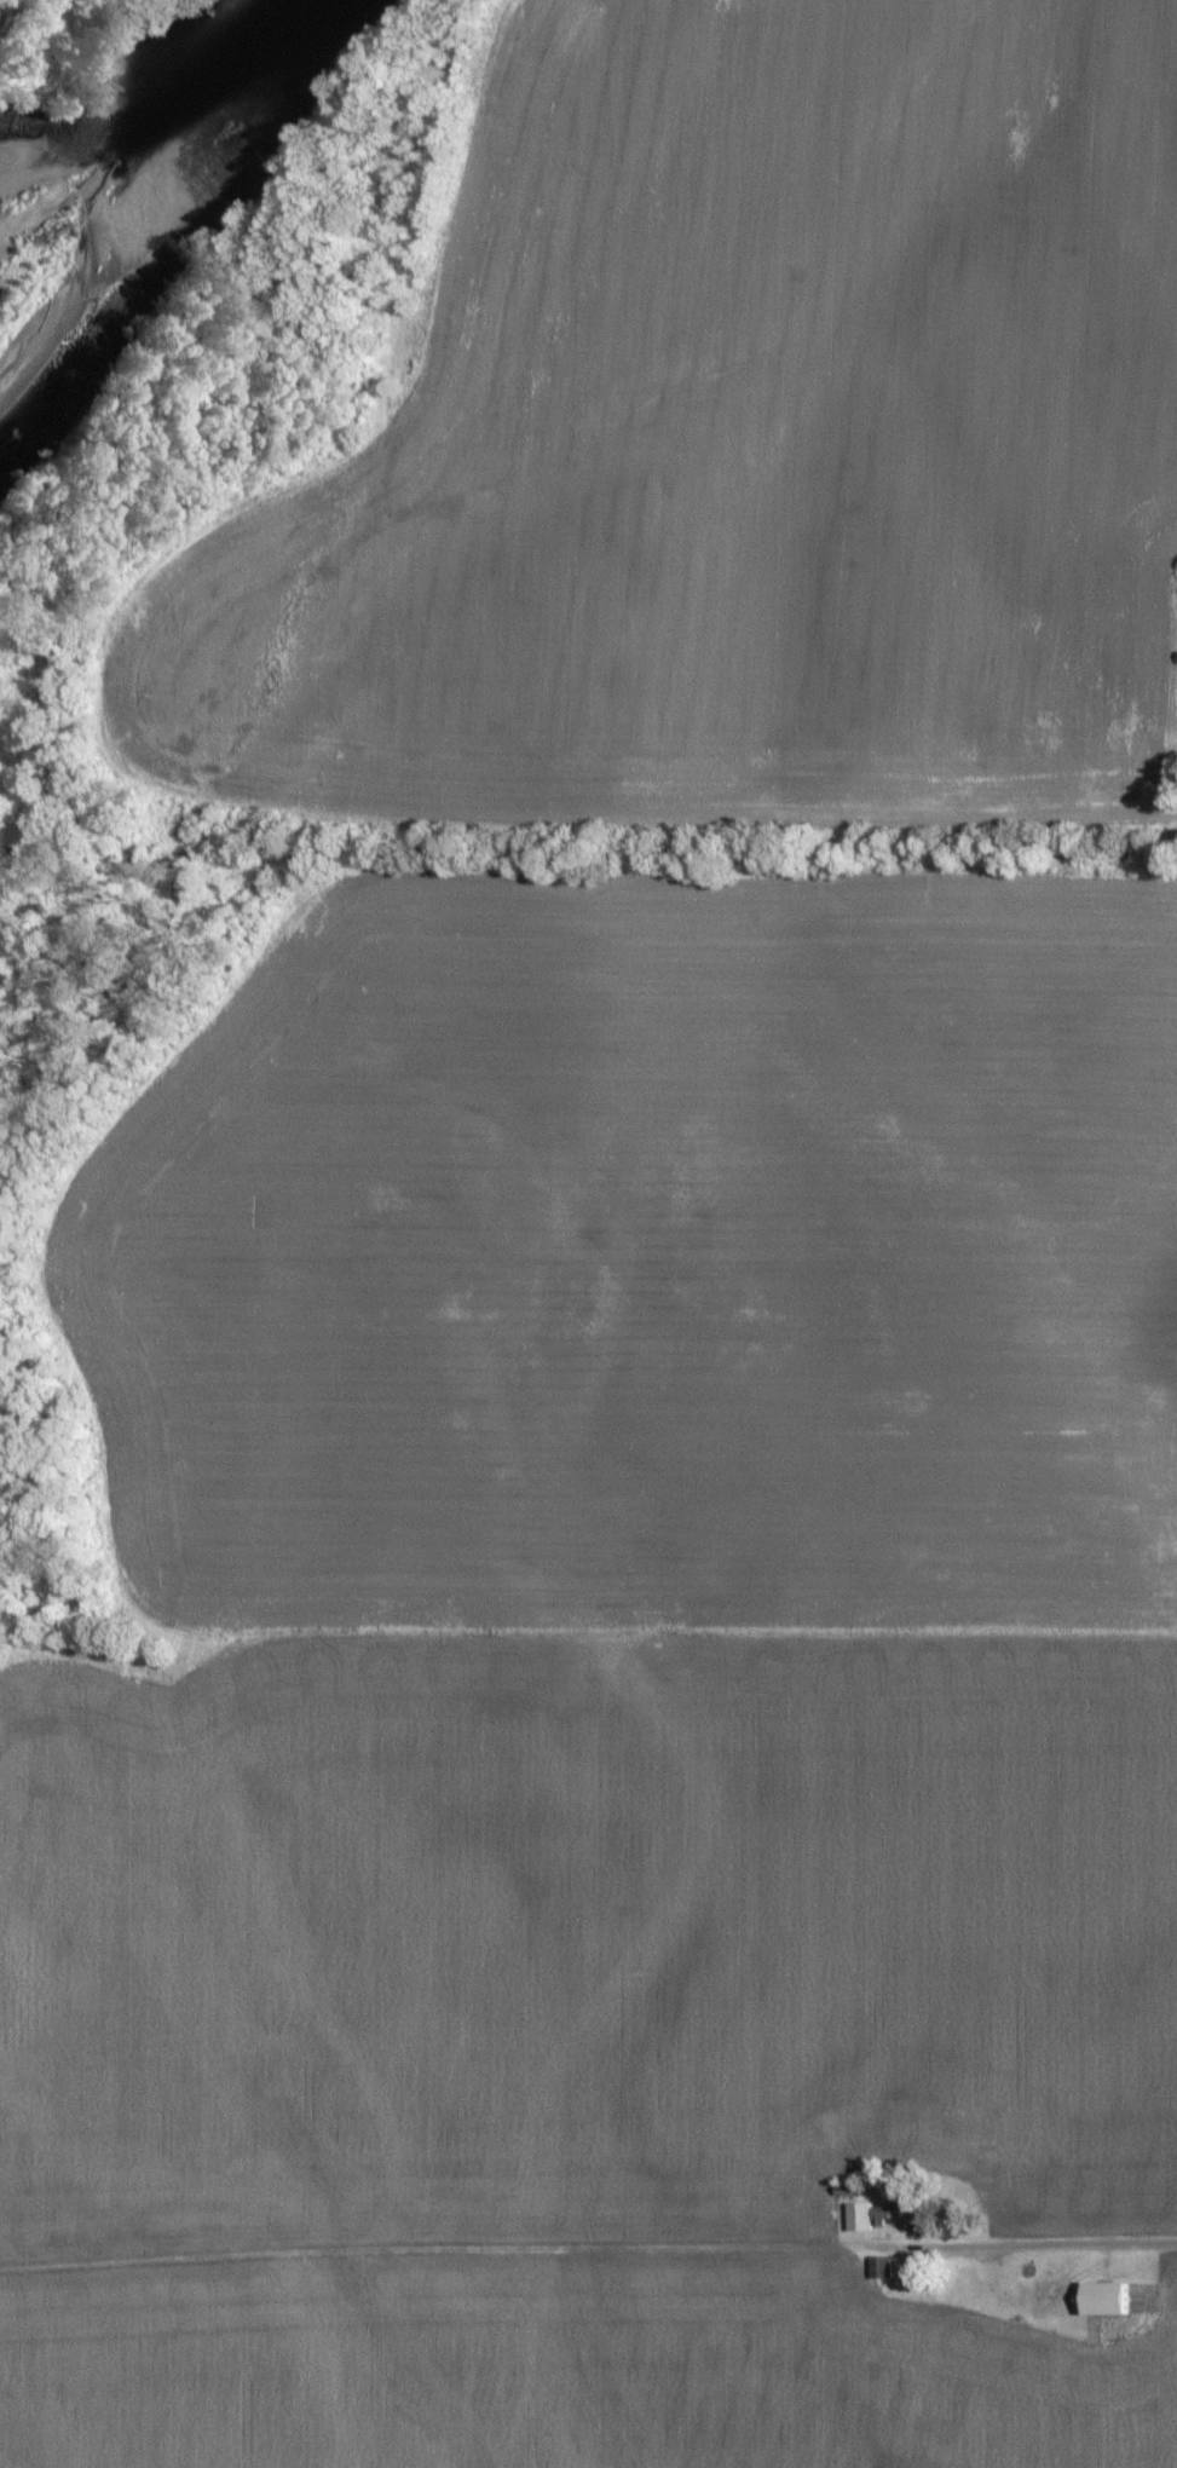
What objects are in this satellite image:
railway: (4, 6)
river: (151, 149)
building: (900, 2214)
building: (856, 2216)
road: (1072, 2260)
building: (878, 2266)
building: (1103, 2297)

